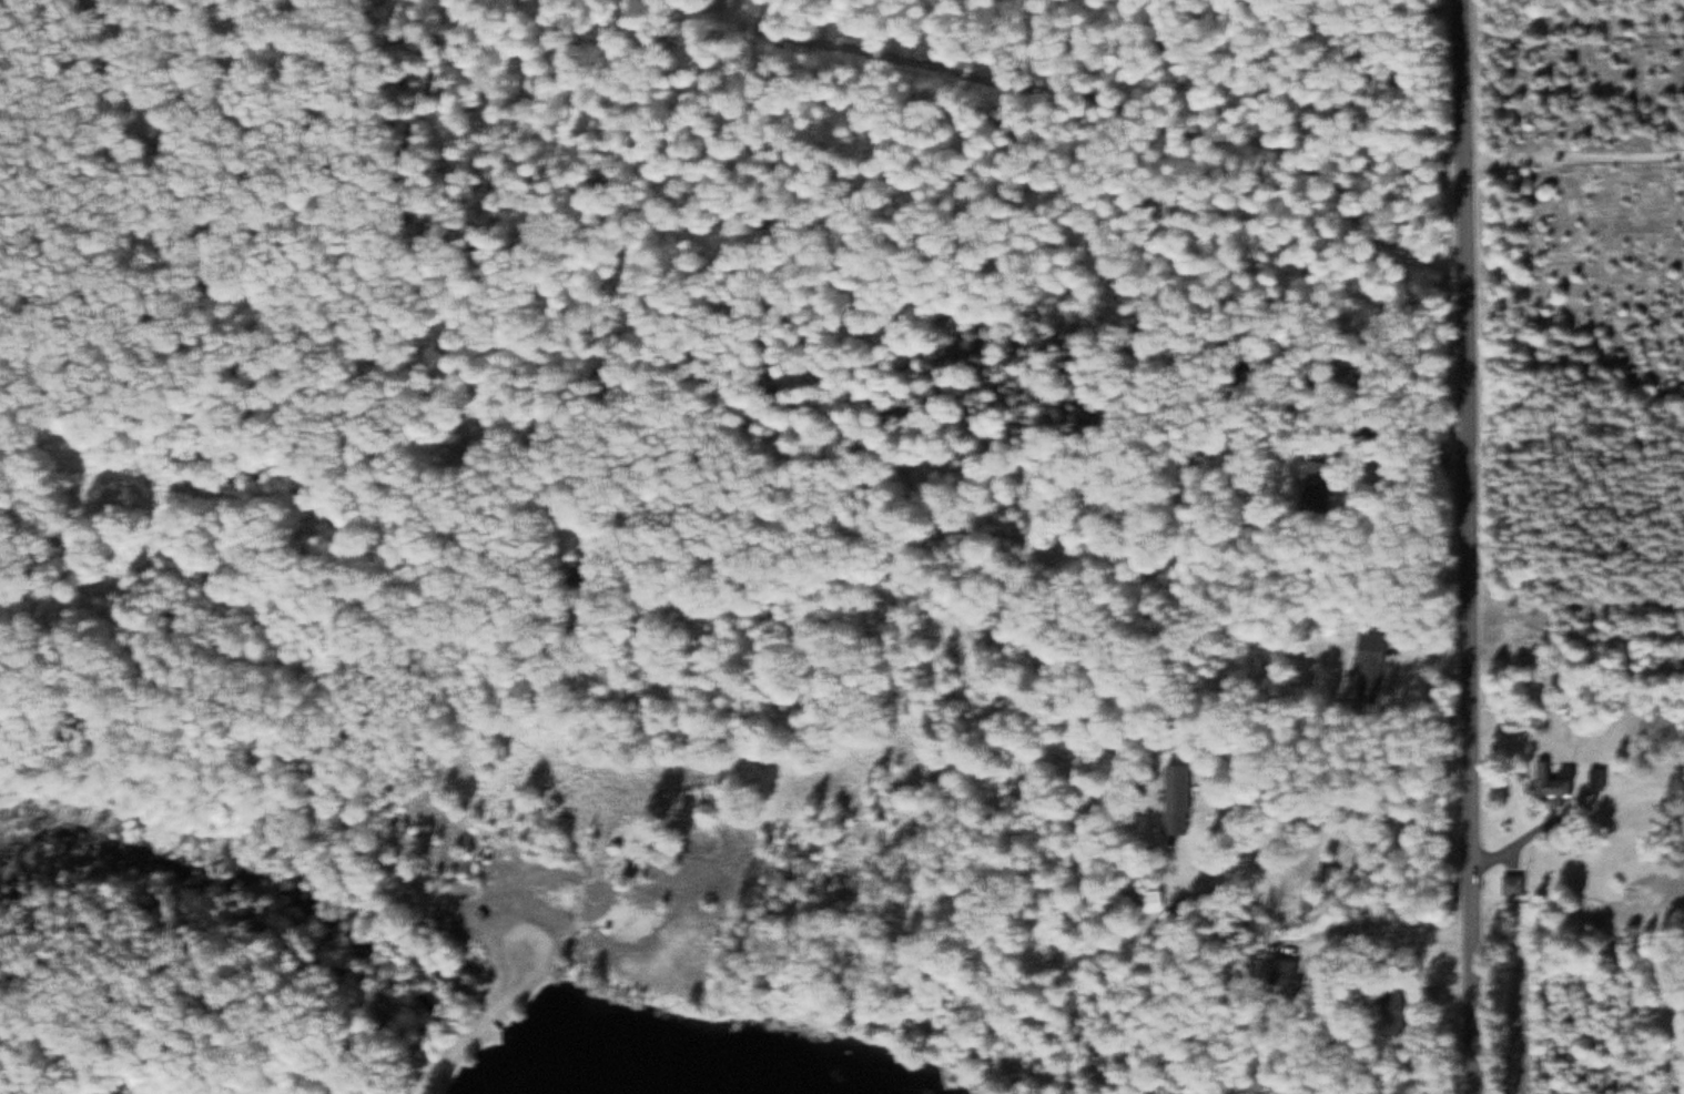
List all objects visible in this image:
road: (1471, 427)
building: (1322, 486)
building: (1376, 661)
building: (1601, 779)
building: (1559, 782)
building: (1183, 799)
building: (1516, 884)
building: (1313, 904)
road: (501, 931)
road: (1475, 975)
road: (432, 1078)

